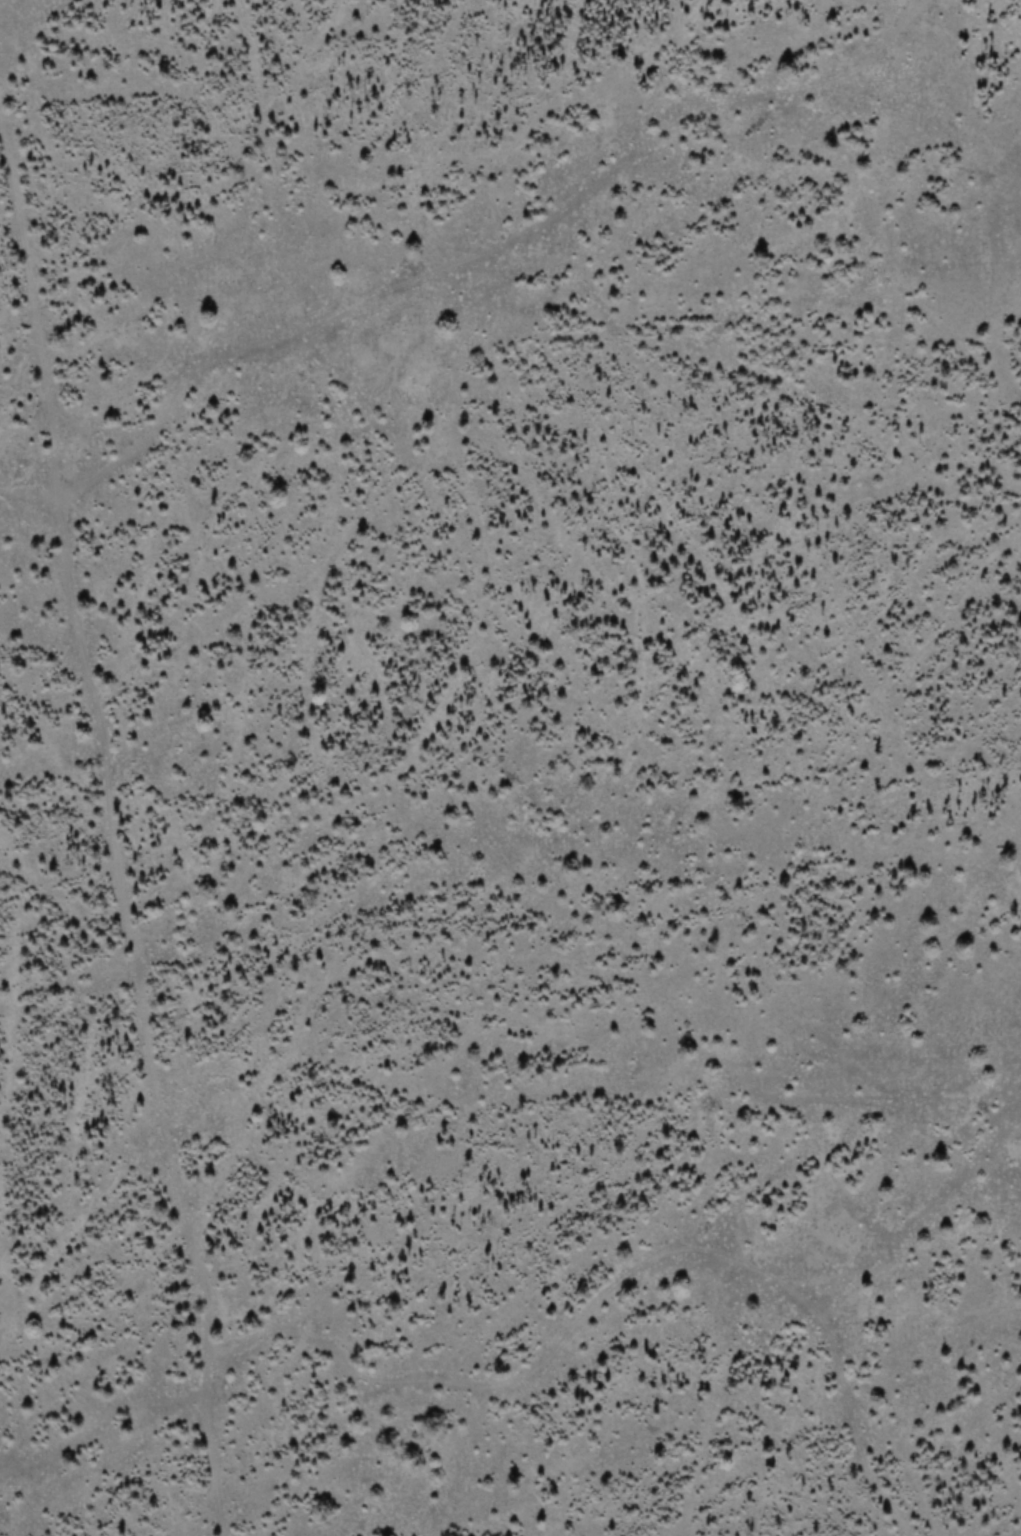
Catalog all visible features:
road: (172, 768)

